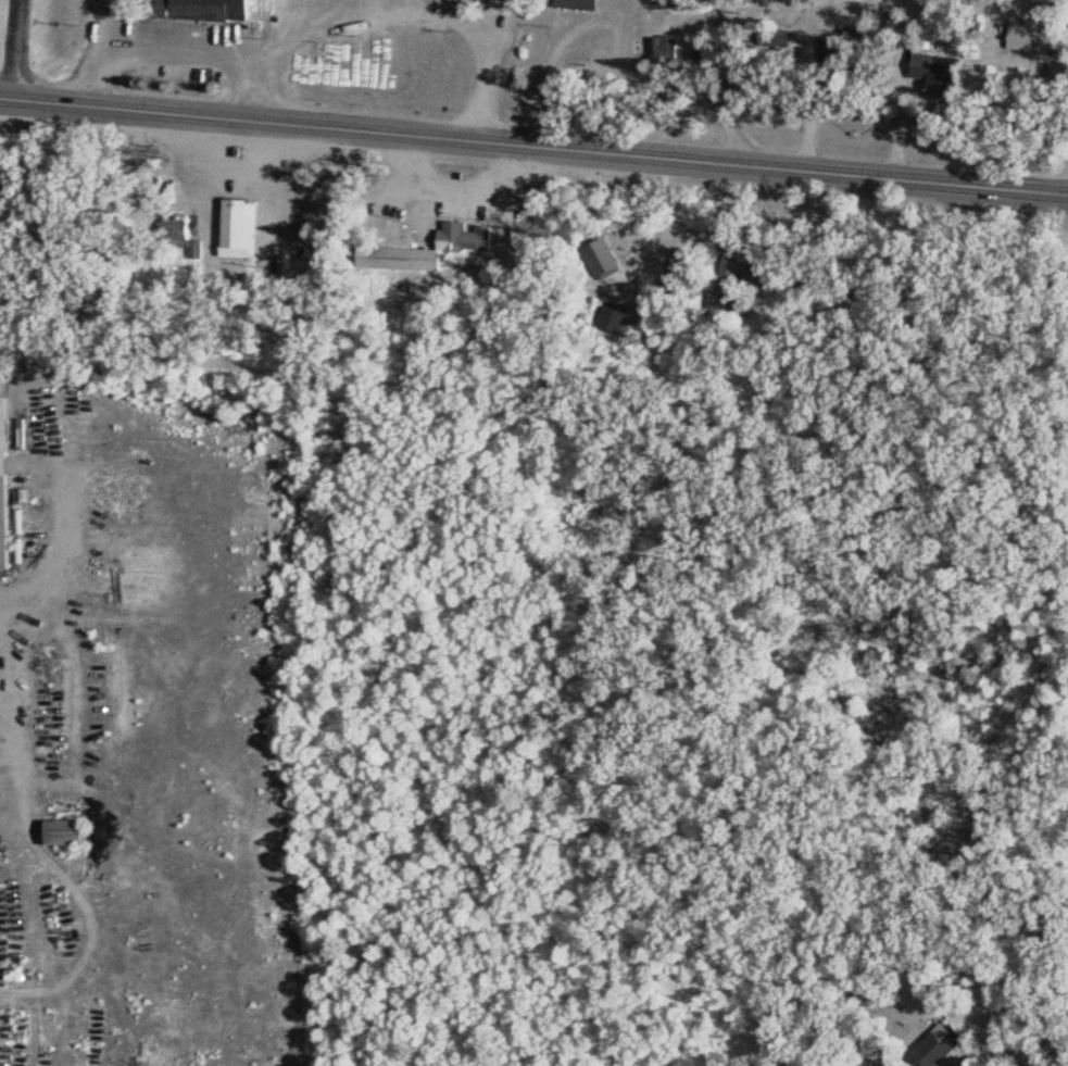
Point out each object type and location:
building: (499, 2)
building: (162, 7)
building: (212, 8)
building: (1022, 37)
parking lot: (164, 48)
building: (665, 48)
road: (14, 49)
building: (838, 49)
road: (641, 79)
road: (533, 145)
building: (242, 226)
building: (456, 240)
building: (724, 292)
road: (533, 400)
building: (5, 482)
building: (70, 831)

